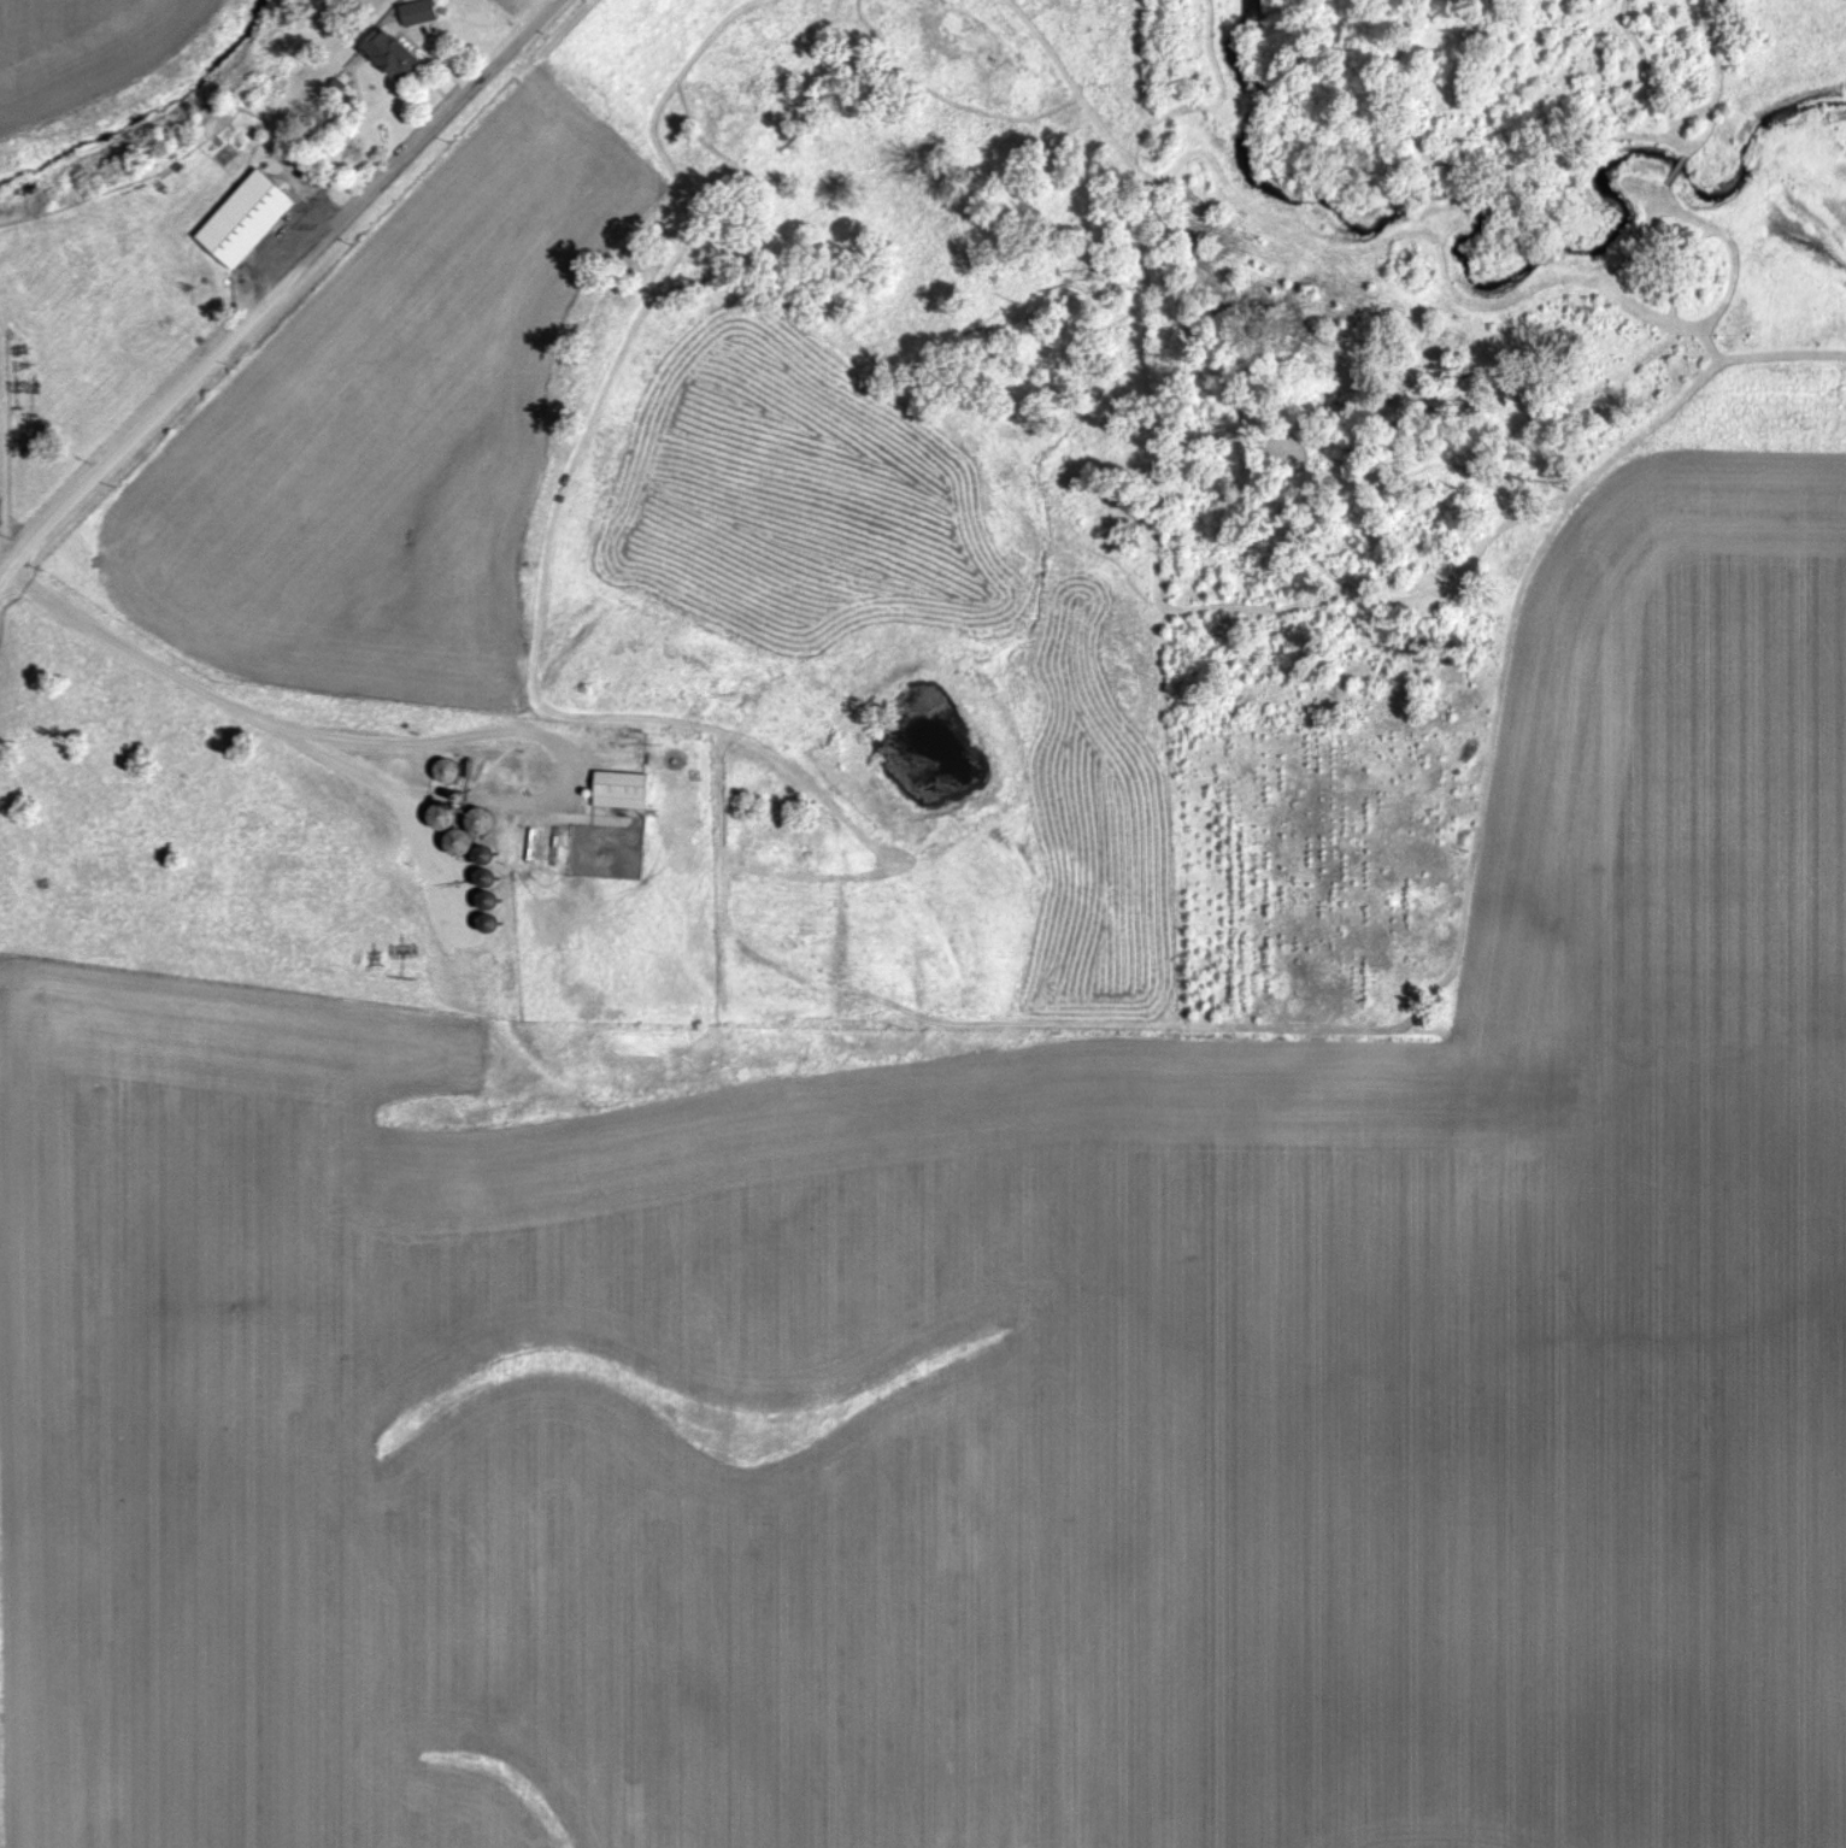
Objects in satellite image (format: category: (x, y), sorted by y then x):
building: (424, 13)
building: (398, 52)
building: (254, 219)
road: (274, 288)
road: (283, 729)
building: (629, 791)

